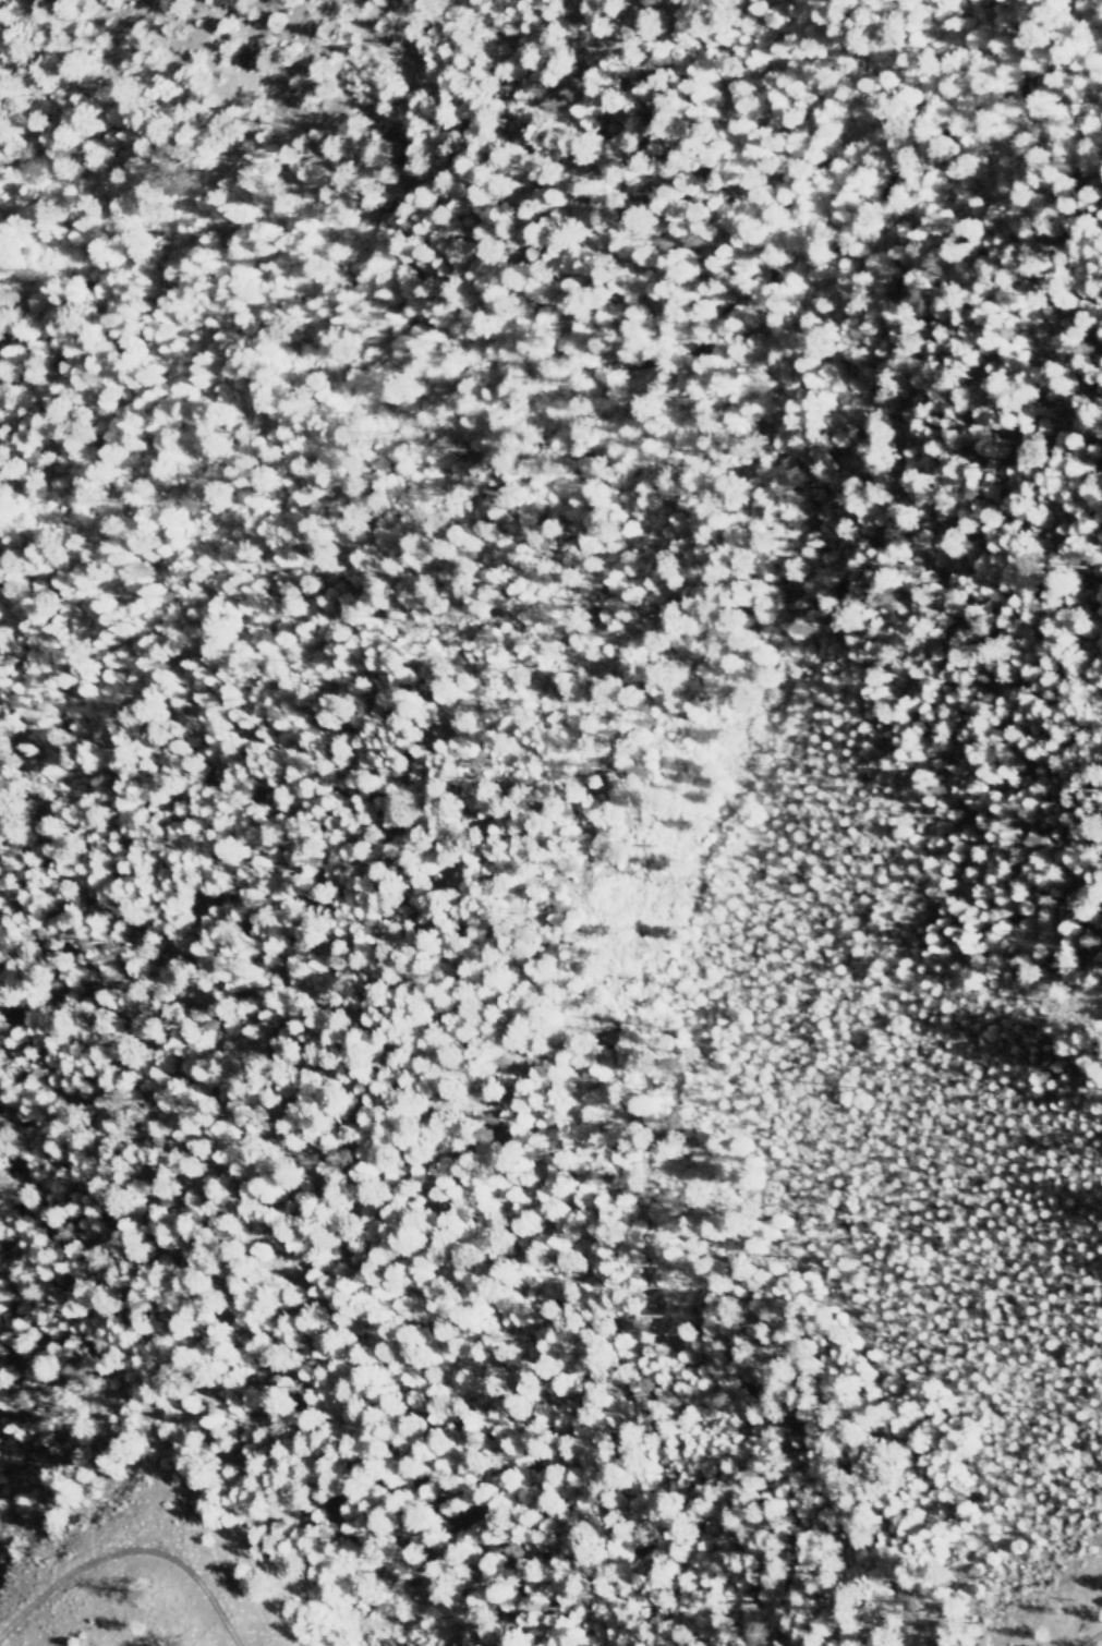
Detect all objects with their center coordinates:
road: (121, 1548)
road: (1087, 1635)

